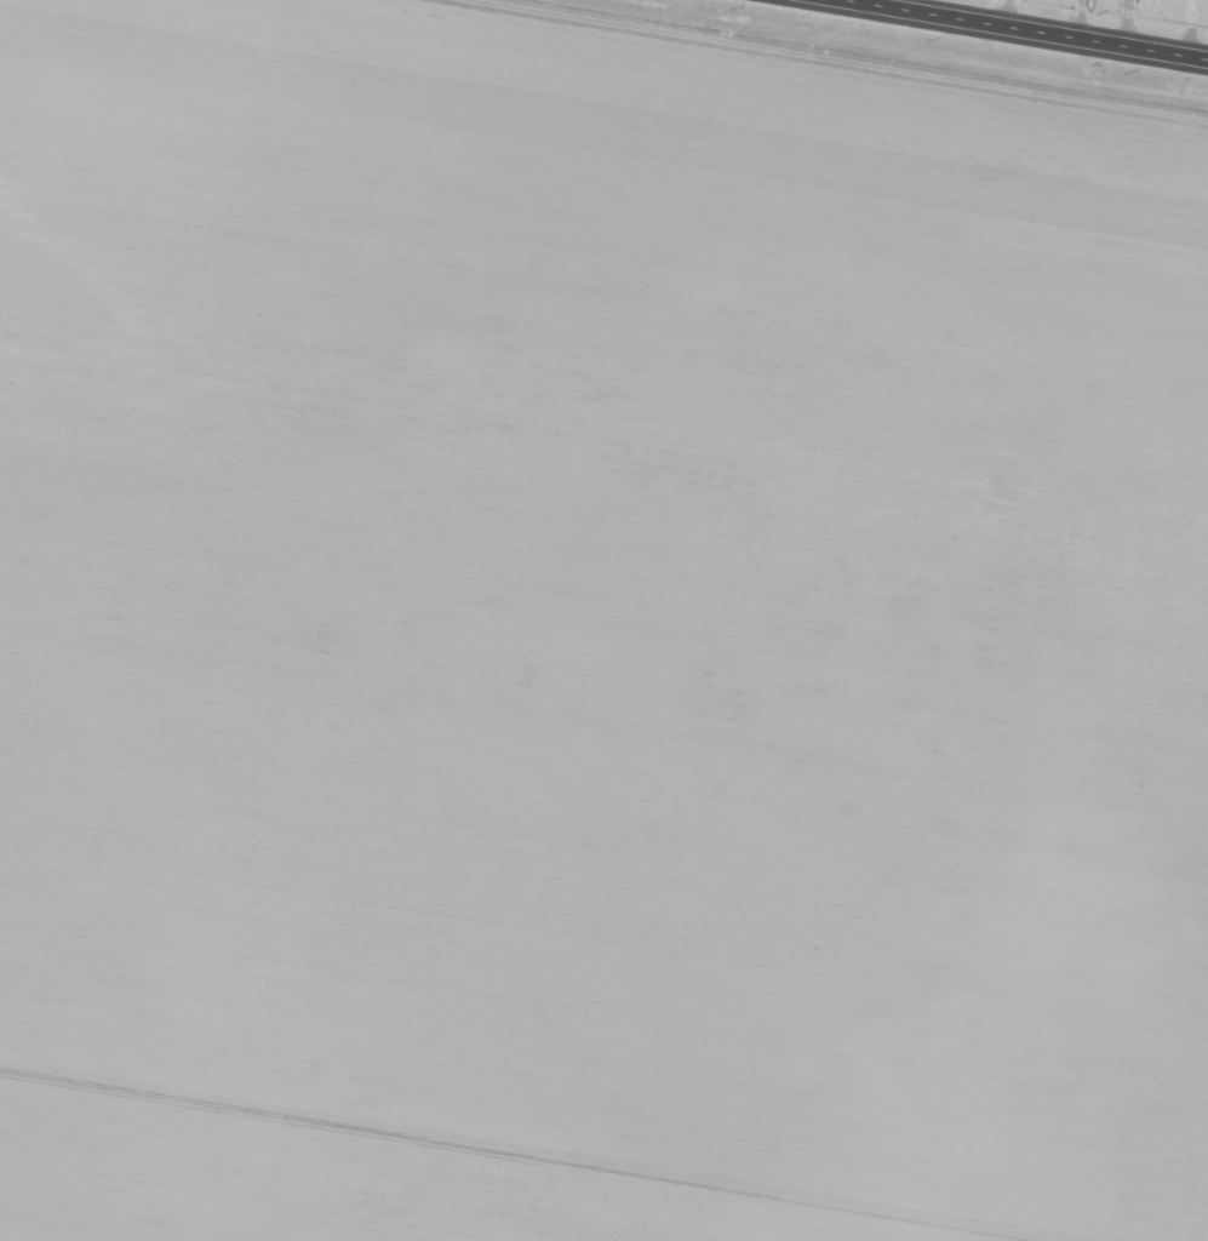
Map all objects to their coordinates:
road: (1025, 29)

